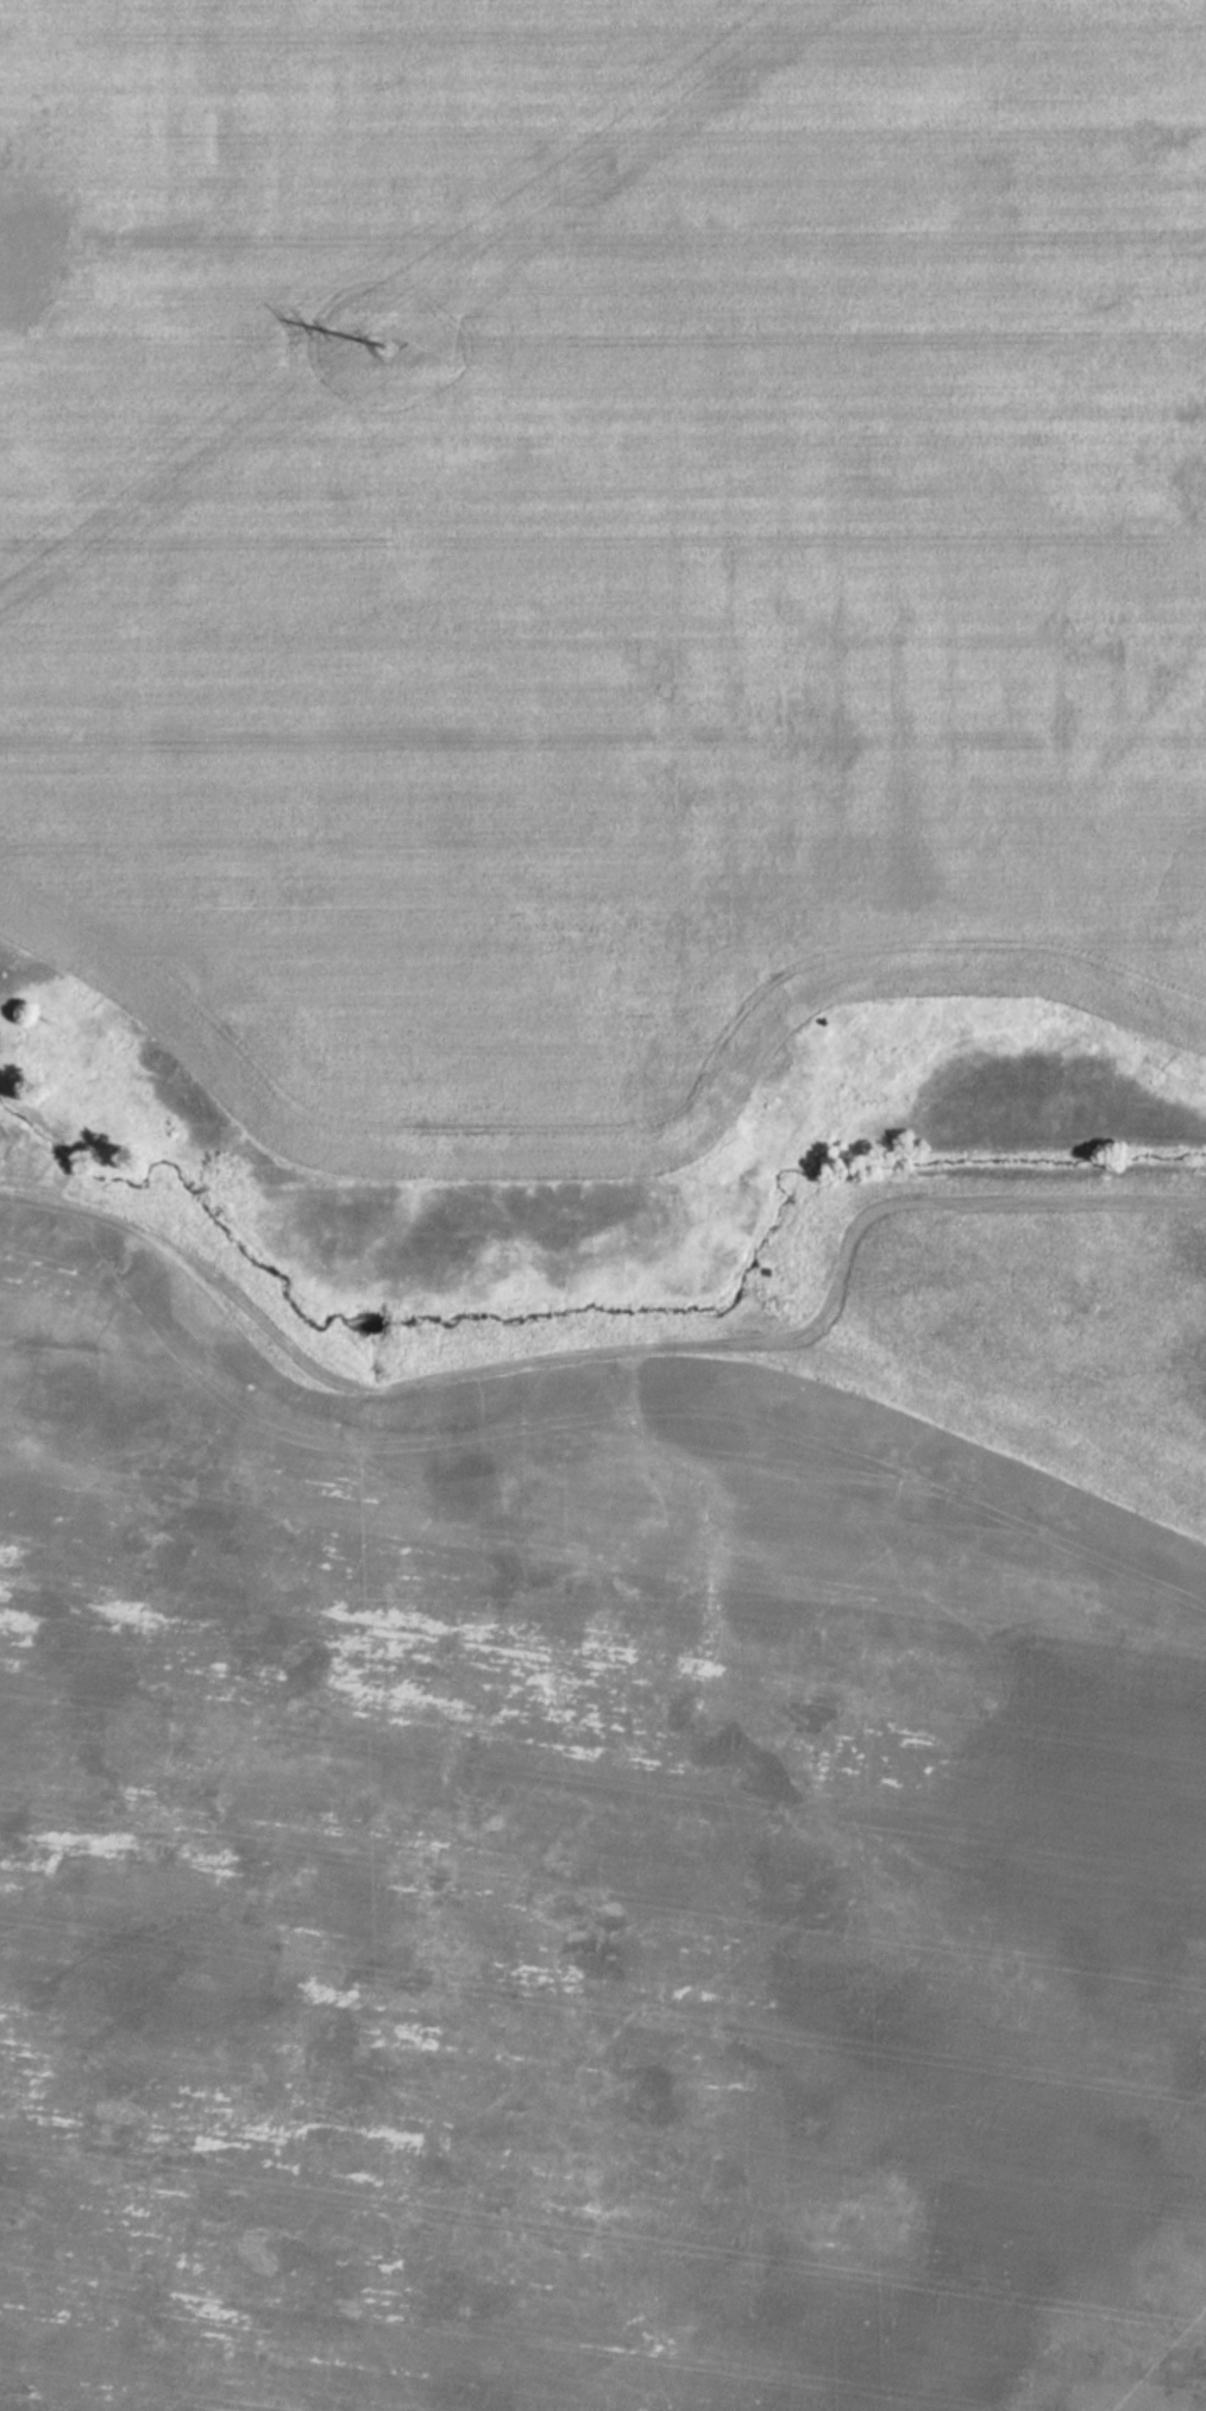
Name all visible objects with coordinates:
power tower: (384, 344)

